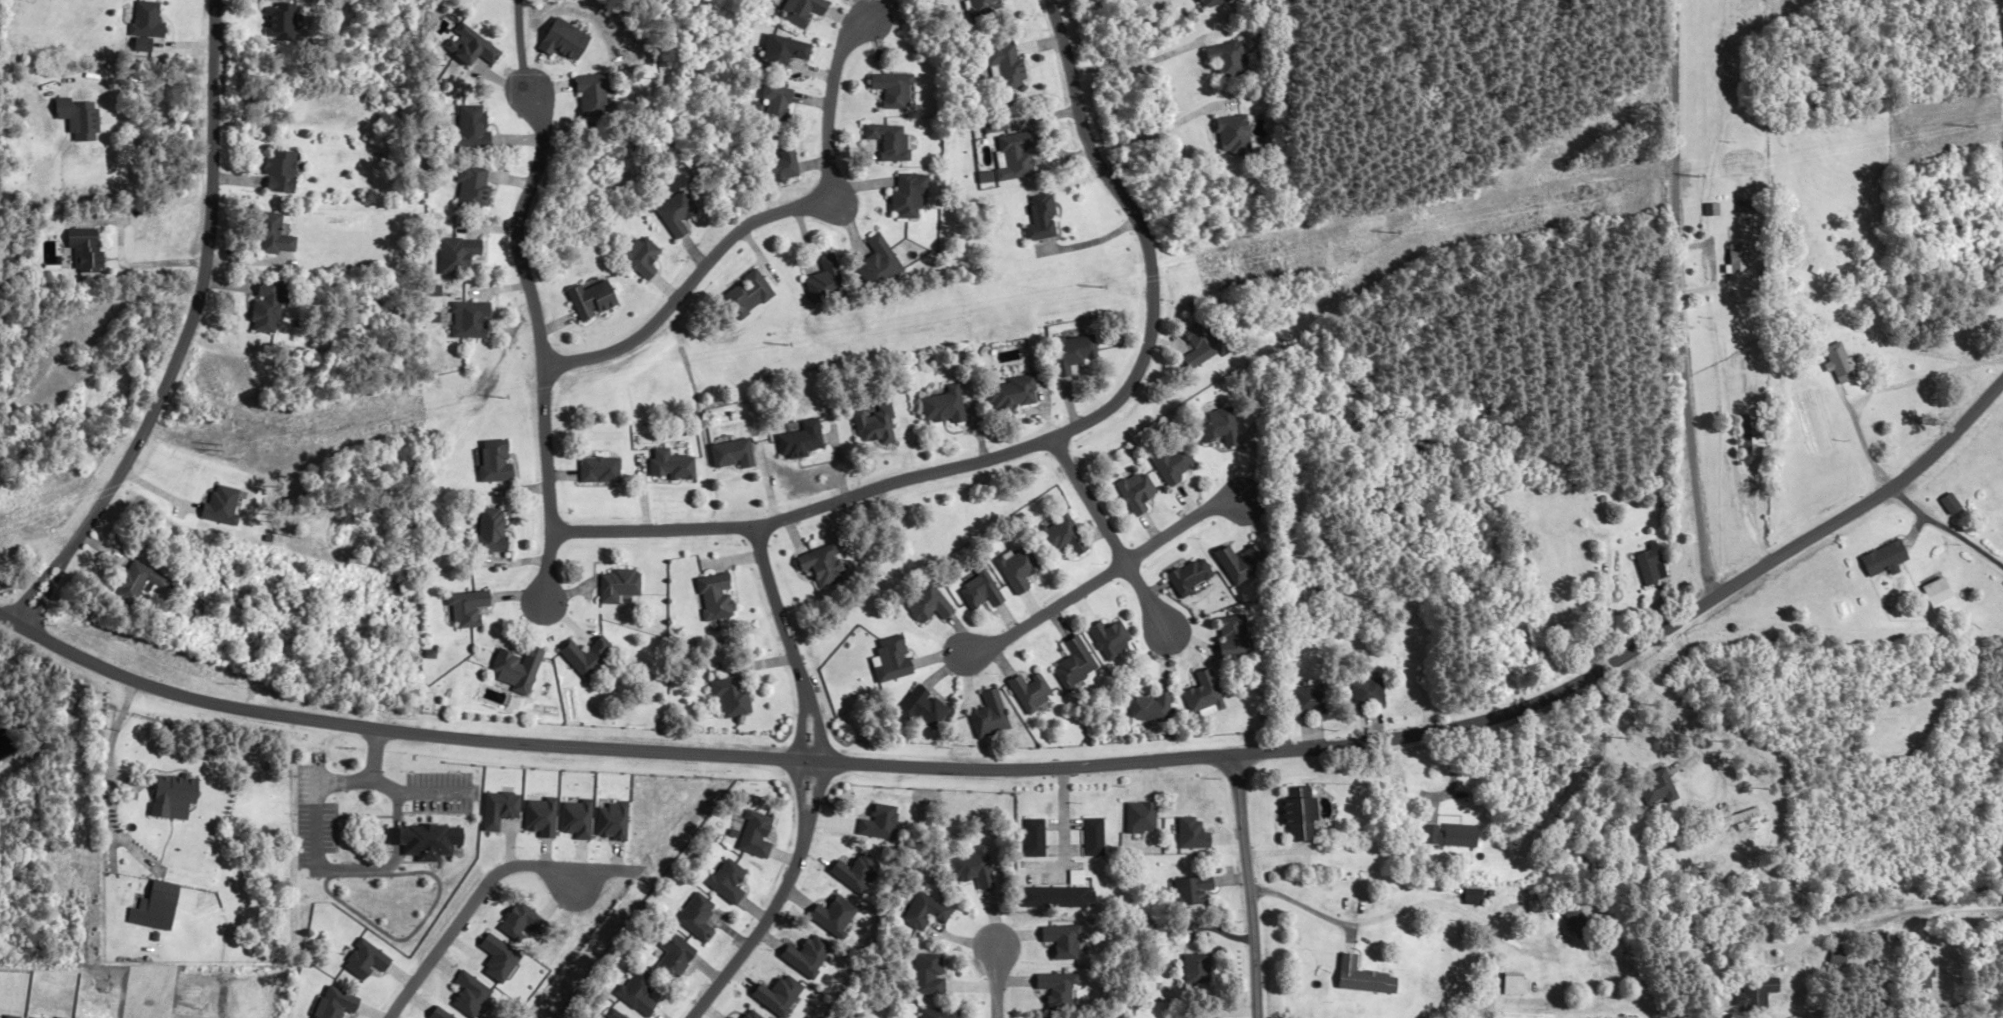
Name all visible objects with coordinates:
building: (1208, 3)
building: (979, 7)
building: (805, 12)
building: (279, 22)
building: (146, 24)
building: (573, 41)
road: (523, 44)
building: (473, 47)
building: (784, 53)
building: (1223, 59)
building: (1004, 66)
building: (890, 89)
building: (598, 96)
building: (778, 105)
building: (79, 118)
building: (477, 127)
building: (1230, 135)
building: (890, 140)
building: (1016, 157)
building: (778, 164)
building: (282, 171)
building: (477, 190)
building: (909, 194)
building: (676, 214)
road: (749, 218)
building: (1044, 218)
building: (278, 235)
building: (88, 249)
building: (463, 253)
building: (642, 257)
building: (876, 263)
building: (1738, 263)
road: (130, 264)
building: (822, 280)
building: (745, 294)
road: (200, 298)
building: (595, 299)
road: (1682, 300)
building: (269, 306)
building: (475, 320)
road: (537, 344)
building: (1198, 347)
building: (1070, 352)
building: (1839, 362)
building: (1009, 394)
building: (941, 406)
building: (873, 425)
building: (1218, 427)
road: (1047, 438)
building: (798, 441)
building: (730, 454)
building: (497, 460)
building: (669, 465)
building: (1171, 465)
building: (598, 470)
building: (1135, 492)
building: (1954, 505)
road: (1949, 528)
building: (493, 531)
building: (1062, 535)
road: (1105, 538)
building: (1887, 560)
building: (1241, 564)
building: (822, 565)
building: (1646, 567)
building: (1019, 568)
building: (1189, 577)
road: (1100, 578)
building: (138, 580)
building: (619, 585)
road: (31, 588)
building: (983, 590)
road: (42, 595)
building: (717, 596)
building: (1941, 596)
building: (930, 604)
building: (470, 608)
road: (776, 613)
building: (1112, 638)
building: (1235, 638)
road: (73, 653)
building: (594, 657)
building: (896, 658)
building: (1077, 664)
building: (521, 668)
building: (1034, 692)
building: (1203, 693)
building: (1366, 695)
building: (734, 696)
building: (1310, 700)
building: (926, 707)
building: (1152, 707)
building: (992, 716)
road: (801, 729)
road: (816, 729)
road: (1126, 762)
road: (369, 772)
road: (341, 782)
building: (1658, 788)
road: (800, 789)
road: (815, 791)
road: (440, 792)
building: (177, 796)
building: (1301, 814)
road: (1064, 817)
building: (1743, 818)
building: (1175, 821)
road: (314, 825)
building: (398, 835)
building: (1448, 835)
building: (1096, 836)
building: (1038, 837)
building: (433, 840)
road: (389, 863)
road: (1055, 867)
road: (1247, 885)
building: (1194, 890)
building: (1062, 897)
building: (1471, 897)
road: (470, 901)
building: (162, 906)
building: (928, 910)
building: (697, 916)
building: (1576, 917)
road: (1377, 918)
road: (760, 924)
road: (1869, 927)
building: (676, 955)
building: (1840, 957)
building: (1198, 968)
building: (1925, 970)
building: (931, 973)
building: (1364, 977)
road: (998, 981)
building: (1515, 985)
building: (1756, 995)
building: (943, 1013)

